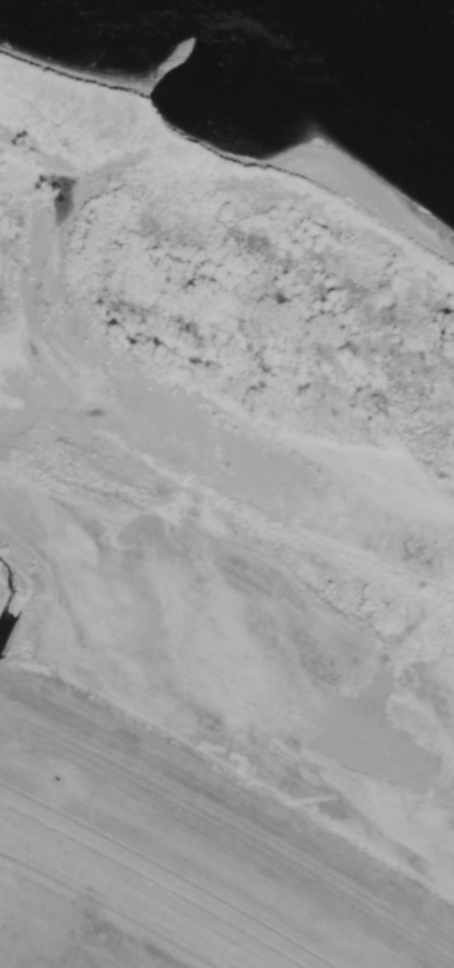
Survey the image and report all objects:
road: (127, 897)
airport: (111, 906)

